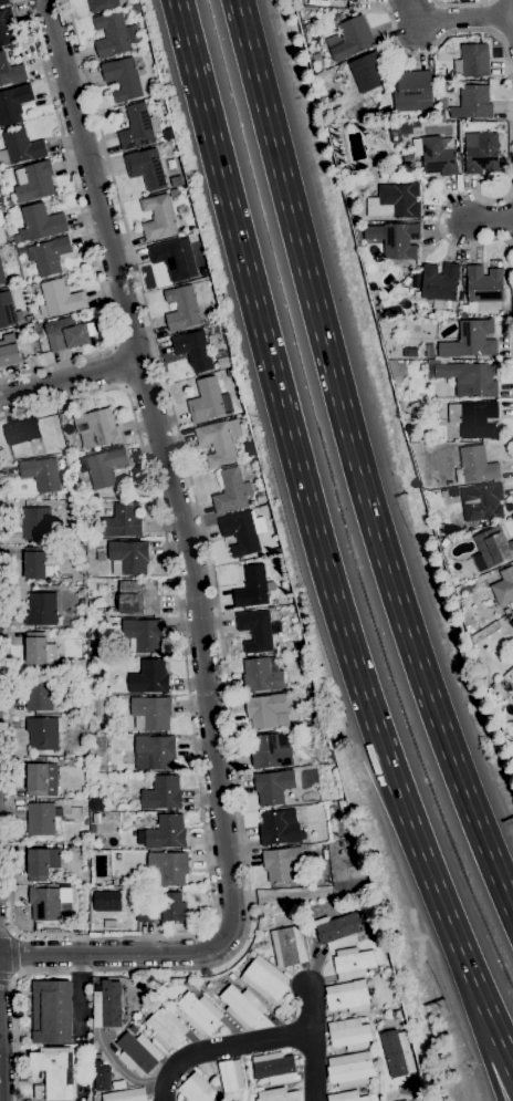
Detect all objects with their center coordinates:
building: (354, 0)
building: (3, 2)
road: (461, 3)
building: (102, 4)
road: (512, 11)
road: (453, 18)
building: (6, 27)
building: (114, 34)
building: (349, 38)
building: (316, 58)
building: (472, 60)
building: (10, 71)
building: (367, 71)
building: (123, 79)
building: (391, 85)
building: (438, 87)
building: (412, 91)
building: (473, 102)
building: (13, 103)
building: (138, 127)
building: (400, 129)
building: (167, 134)
building: (20, 146)
building: (436, 154)
building: (385, 155)
building: (482, 155)
road: (510, 157)
building: (407, 159)
building: (145, 167)
building: (33, 180)
building: (176, 180)
building: (174, 193)
building: (9, 201)
building: (395, 201)
building: (158, 217)
road: (490, 218)
building: (39, 224)
road: (84, 228)
building: (1, 236)
building: (395, 238)
building: (20, 249)
building: (49, 256)
building: (170, 258)
building: (1, 276)
building: (440, 283)
building: (483, 283)
building: (59, 298)
building: (471, 307)
building: (181, 308)
building: (8, 311)
building: (462, 314)
building: (28, 319)
building: (38, 326)
building: (66, 333)
building: (32, 335)
building: (210, 340)
building: (471, 341)
building: (430, 349)
building: (193, 350)
building: (9, 351)
building: (221, 360)
road: (116, 367)
building: (395, 368)
building: (467, 377)
road: (69, 378)
building: (206, 401)
building: (473, 418)
building: (97, 427)
building: (22, 430)
building: (423, 436)
building: (218, 440)
road: (358, 459)
building: (477, 464)
building: (104, 466)
road: (167, 467)
building: (41, 474)
building: (230, 491)
building: (451, 491)
building: (260, 496)
building: (482, 502)
road: (311, 515)
building: (123, 521)
building: (41, 523)
building: (441, 528)
building: (242, 531)
building: (492, 548)
road: (209, 553)
building: (128, 558)
building: (34, 562)
building: (251, 584)
building: (503, 586)
building: (138, 598)
building: (81, 602)
building: (92, 604)
building: (41, 609)
building: (507, 613)
building: (511, 623)
building: (255, 631)
building: (143, 634)
building: (299, 644)
building: (38, 651)
building: (93, 662)
building: (80, 664)
building: (49, 668)
building: (260, 675)
building: (149, 677)
building: (38, 694)
building: (94, 705)
building: (264, 709)
building: (151, 713)
building: (44, 731)
building: (154, 751)
building: (270, 752)
building: (92, 758)
building: (82, 765)
building: (92, 767)
building: (41, 779)
building: (273, 786)
building: (163, 792)
building: (40, 819)
building: (280, 828)
building: (164, 832)
building: (84, 848)
building: (281, 862)
building: (41, 863)
building: (167, 868)
building: (127, 883)
building: (65, 895)
building: (285, 896)
building: (44, 904)
building: (166, 908)
building: (292, 913)
road: (213, 917)
building: (295, 920)
building: (338, 929)
building: (373, 929)
road: (7, 931)
building: (289, 946)
road: (112, 952)
road: (13, 953)
building: (352, 963)
building: (381, 969)
road: (8, 975)
building: (264, 978)
building: (178, 980)
building: (188, 984)
building: (140, 986)
building: (347, 996)
building: (107, 1005)
building: (241, 1006)
road: (12, 1010)
building: (52, 1011)
building: (198, 1012)
building: (363, 1018)
building: (133, 1029)
building: (167, 1029)
building: (348, 1034)
road: (312, 1042)
road: (500, 1042)
road: (222, 1047)
building: (138, 1053)
building: (397, 1053)
road: (485, 1060)
building: (274, 1068)
building: (348, 1069)
road: (124, 1072)
building: (54, 1073)
building: (101, 1076)
building: (230, 1076)
building: (197, 1089)
building: (276, 1094)
building: (126, 1095)
building: (347, 1097)
building: (218, 1100)
building: (404, 1100)

